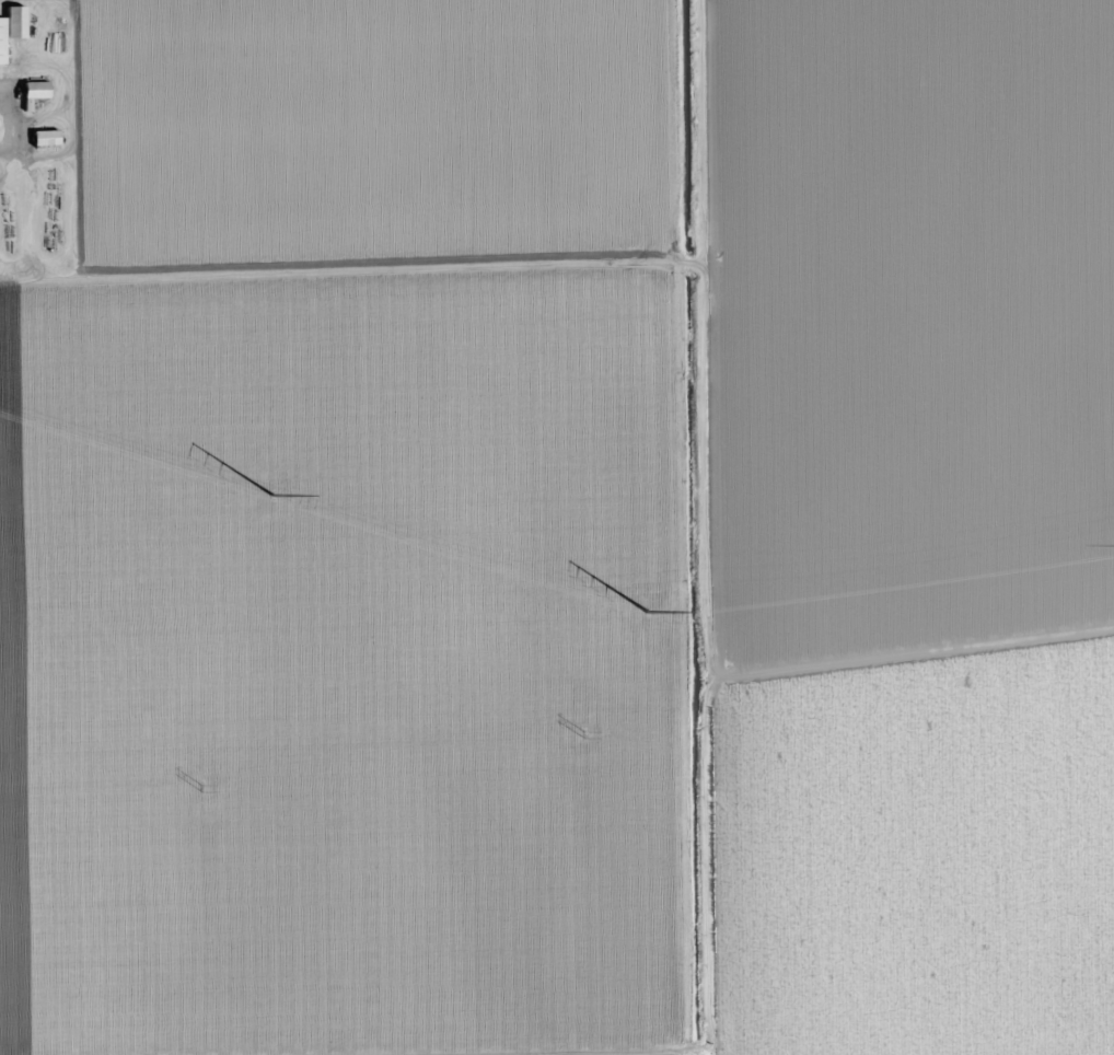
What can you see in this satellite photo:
building: (12, 28)
building: (36, 91)
building: (46, 138)
power tower: (274, 494)
power tower: (648, 608)
power tower: (968, 682)
power tower: (584, 735)
power tower: (201, 788)

